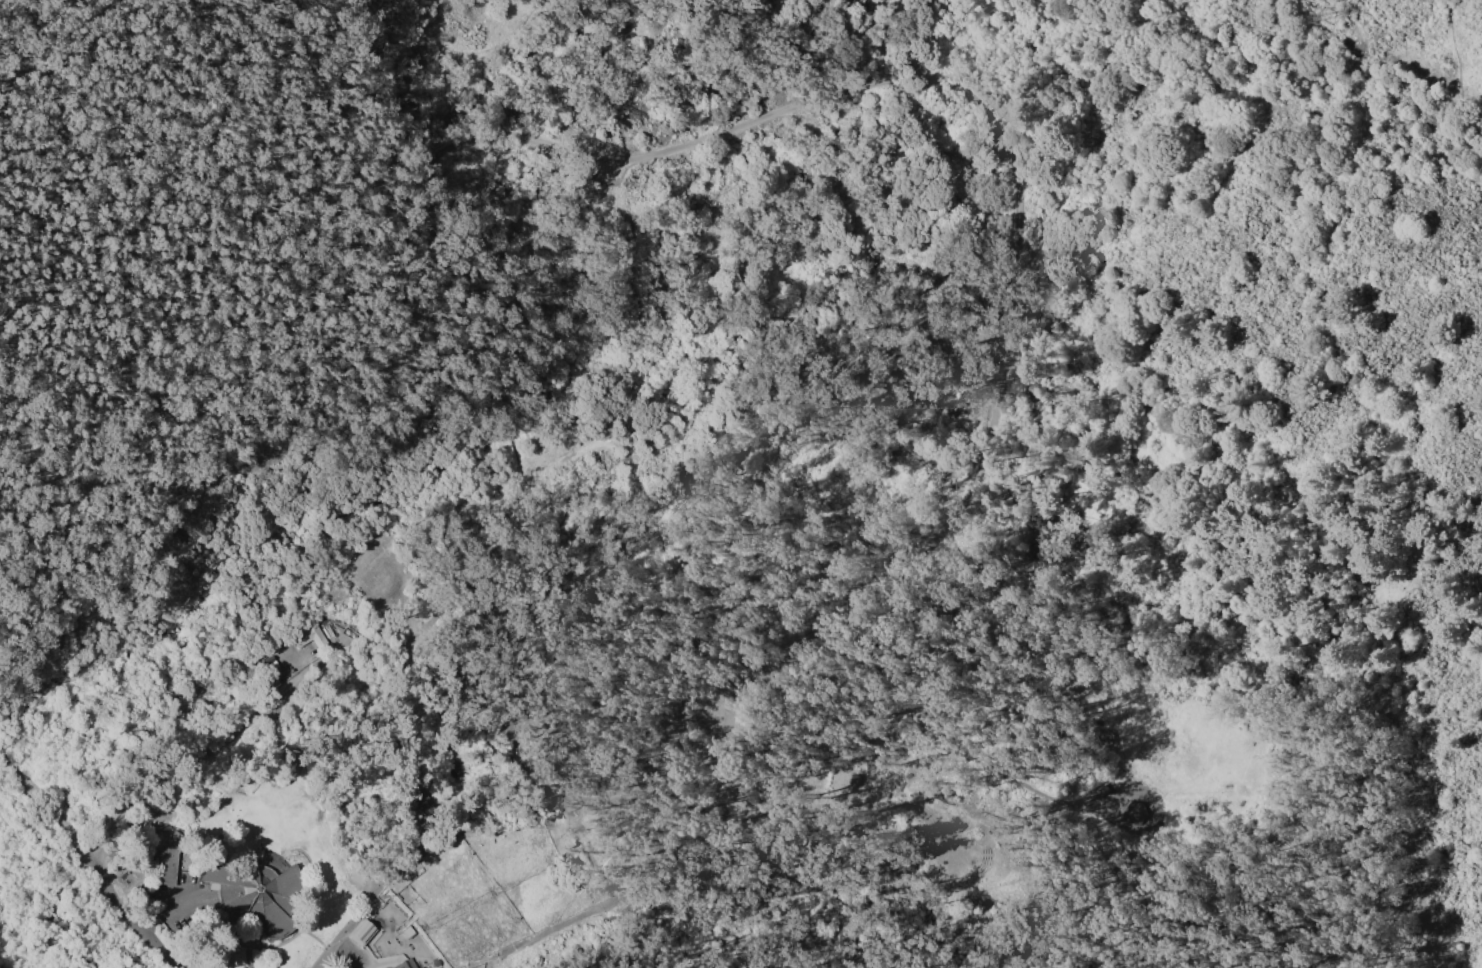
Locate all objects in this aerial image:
power tower: (1329, 8)
road: (885, 41)
road: (891, 81)
road: (1074, 90)
road: (333, 94)
road: (551, 248)
road: (384, 451)
road: (862, 533)
road: (1301, 547)
road: (461, 592)
building: (308, 636)
building: (269, 671)
road: (454, 757)
road: (945, 771)
road: (560, 804)
road: (299, 808)
building: (424, 809)
road: (845, 809)
building: (1136, 812)
road: (691, 818)
road: (66, 821)
road: (413, 822)
road: (1024, 833)
road: (297, 848)
building: (169, 859)
building: (257, 891)
road: (169, 902)
building: (361, 932)
road: (143, 934)
road: (247, 942)
road: (275, 944)
road: (327, 954)
road: (348, 954)
building: (406, 964)

